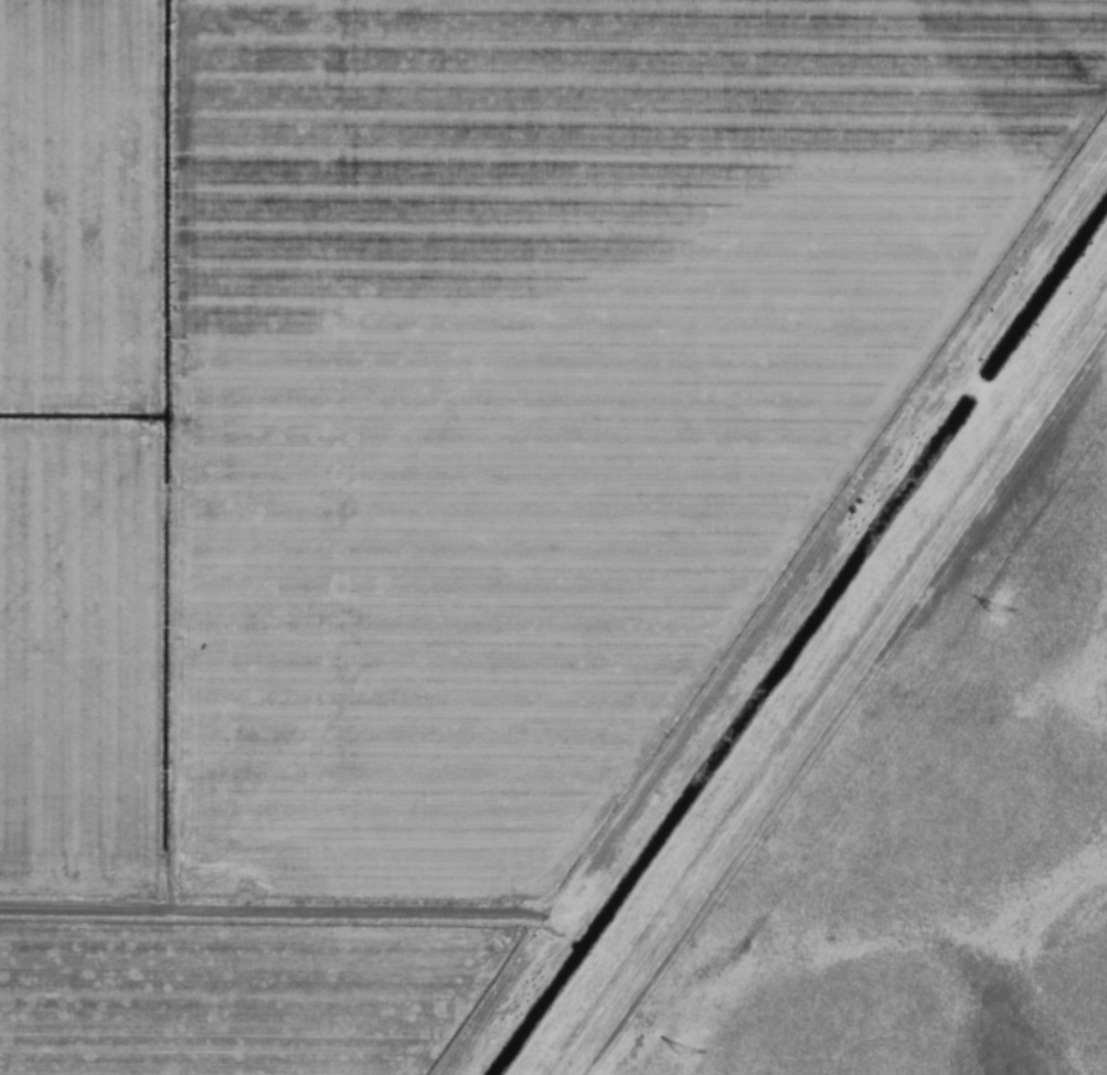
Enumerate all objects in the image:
power tower: (988, 614)
power tower: (677, 1054)

